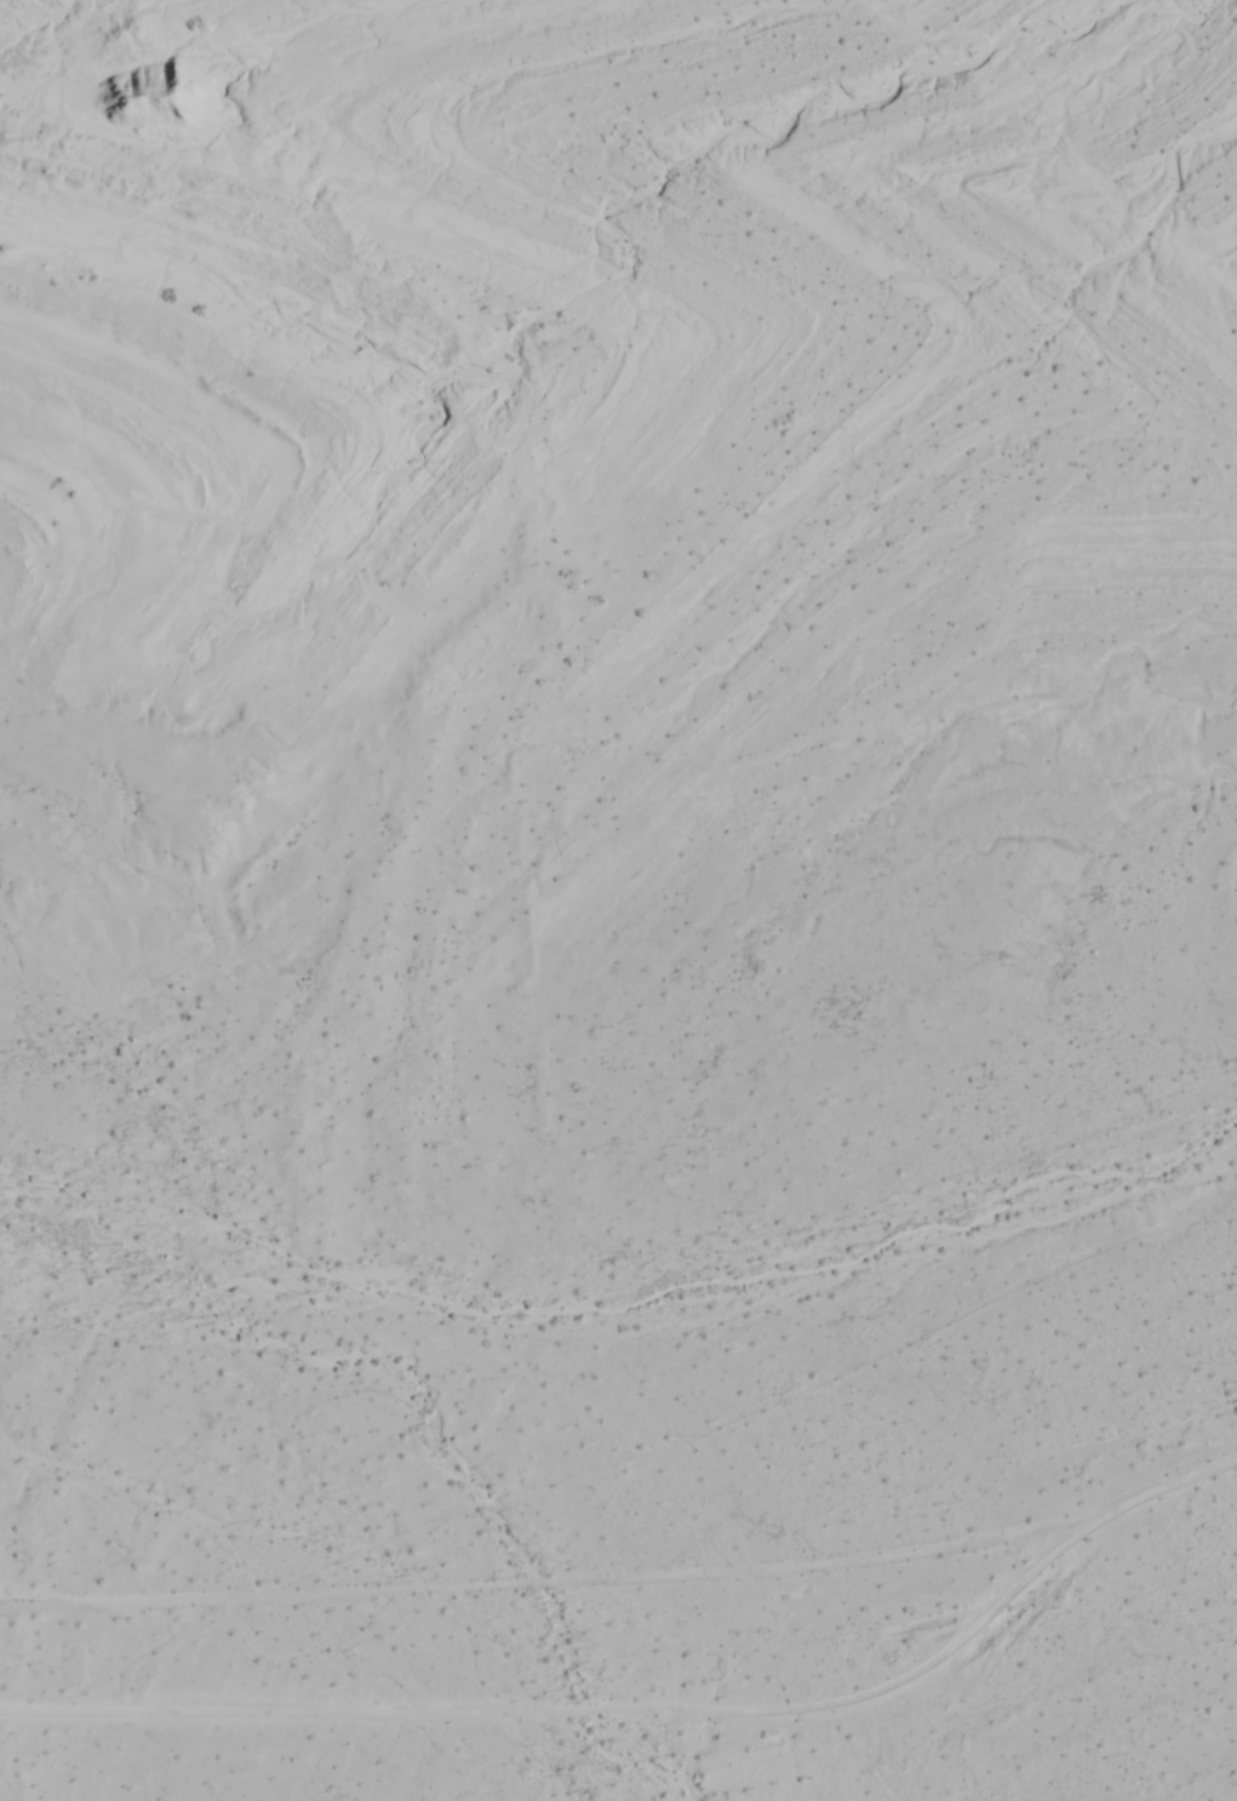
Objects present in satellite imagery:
road: (654, 1705)

